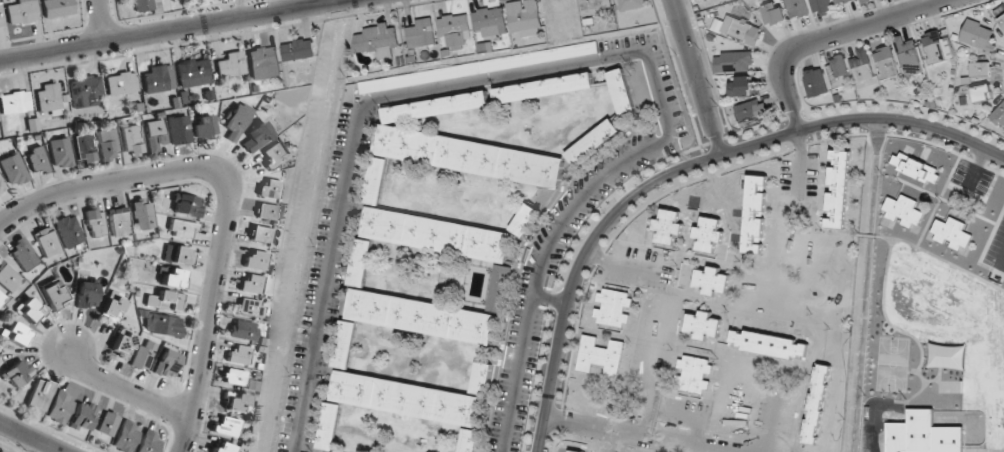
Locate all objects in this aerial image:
building: (865, 0)
building: (841, 1)
building: (630, 4)
building: (595, 5)
building: (145, 6)
building: (821, 7)
building: (57, 8)
building: (797, 8)
building: (22, 12)
building: (774, 13)
building: (999, 14)
building: (524, 15)
building: (1, 18)
road: (103, 20)
building: (489, 22)
road: (171, 29)
building: (455, 30)
building: (739, 30)
building: (421, 33)
building: (978, 35)
road: (830, 38)
building: (377, 40)
building: (937, 46)
building: (298, 49)
building: (907, 52)
building: (738, 61)
building: (264, 62)
building: (886, 63)
building: (231, 66)
building: (863, 67)
building: (980, 69)
building: (839, 72)
building: (193, 73)
road: (697, 77)
building: (158, 78)
building: (404, 80)
building: (816, 82)
building: (121, 83)
building: (742, 86)
building: (85, 91)
building: (983, 92)
building: (622, 93)
building: (49, 100)
building: (15, 102)
building: (752, 110)
building: (999, 115)
building: (236, 120)
building: (202, 127)
building: (178, 130)
building: (154, 135)
building: (254, 137)
building: (132, 140)
building: (594, 142)
building: (108, 145)
building: (85, 149)
building: (61, 152)
building: (273, 154)
building: (37, 161)
road: (682, 168)
building: (915, 168)
building: (13, 169)
building: (376, 181)
building: (2, 186)
building: (838, 188)
building: (268, 189)
road: (233, 194)
building: (186, 205)
building: (265, 212)
building: (901, 212)
building: (142, 214)
building: (755, 214)
building: (526, 220)
building: (119, 221)
building: (95, 222)
building: (668, 227)
building: (182, 229)
building: (67, 230)
building: (259, 234)
building: (708, 234)
building: (951, 234)
building: (46, 242)
building: (448, 243)
building: (22, 254)
building: (180, 256)
building: (254, 260)
building: (8, 278)
building: (171, 278)
building: (711, 280)
building: (249, 284)
building: (86, 293)
building: (54, 294)
building: (2, 298)
building: (165, 301)
building: (247, 307)
building: (112, 308)
building: (613, 308)
building: (413, 309)
building: (30, 310)
building: (703, 325)
building: (163, 327)
building: (241, 330)
building: (15, 333)
building: (120, 343)
building: (346, 344)
building: (769, 344)
building: (142, 355)
building: (236, 355)
building: (601, 355)
building: (165, 363)
building: (17, 373)
building: (694, 375)
building: (232, 377)
building: (483, 378)
road: (124, 390)
building: (39, 397)
building: (412, 402)
building: (235, 403)
building: (817, 404)
building: (59, 407)
building: (82, 416)
building: (107, 423)
building: (224, 426)
road: (634, 433)
building: (923, 434)
building: (125, 436)
road: (32, 437)
building: (148, 442)
building: (220, 447)
building: (575, 451)

